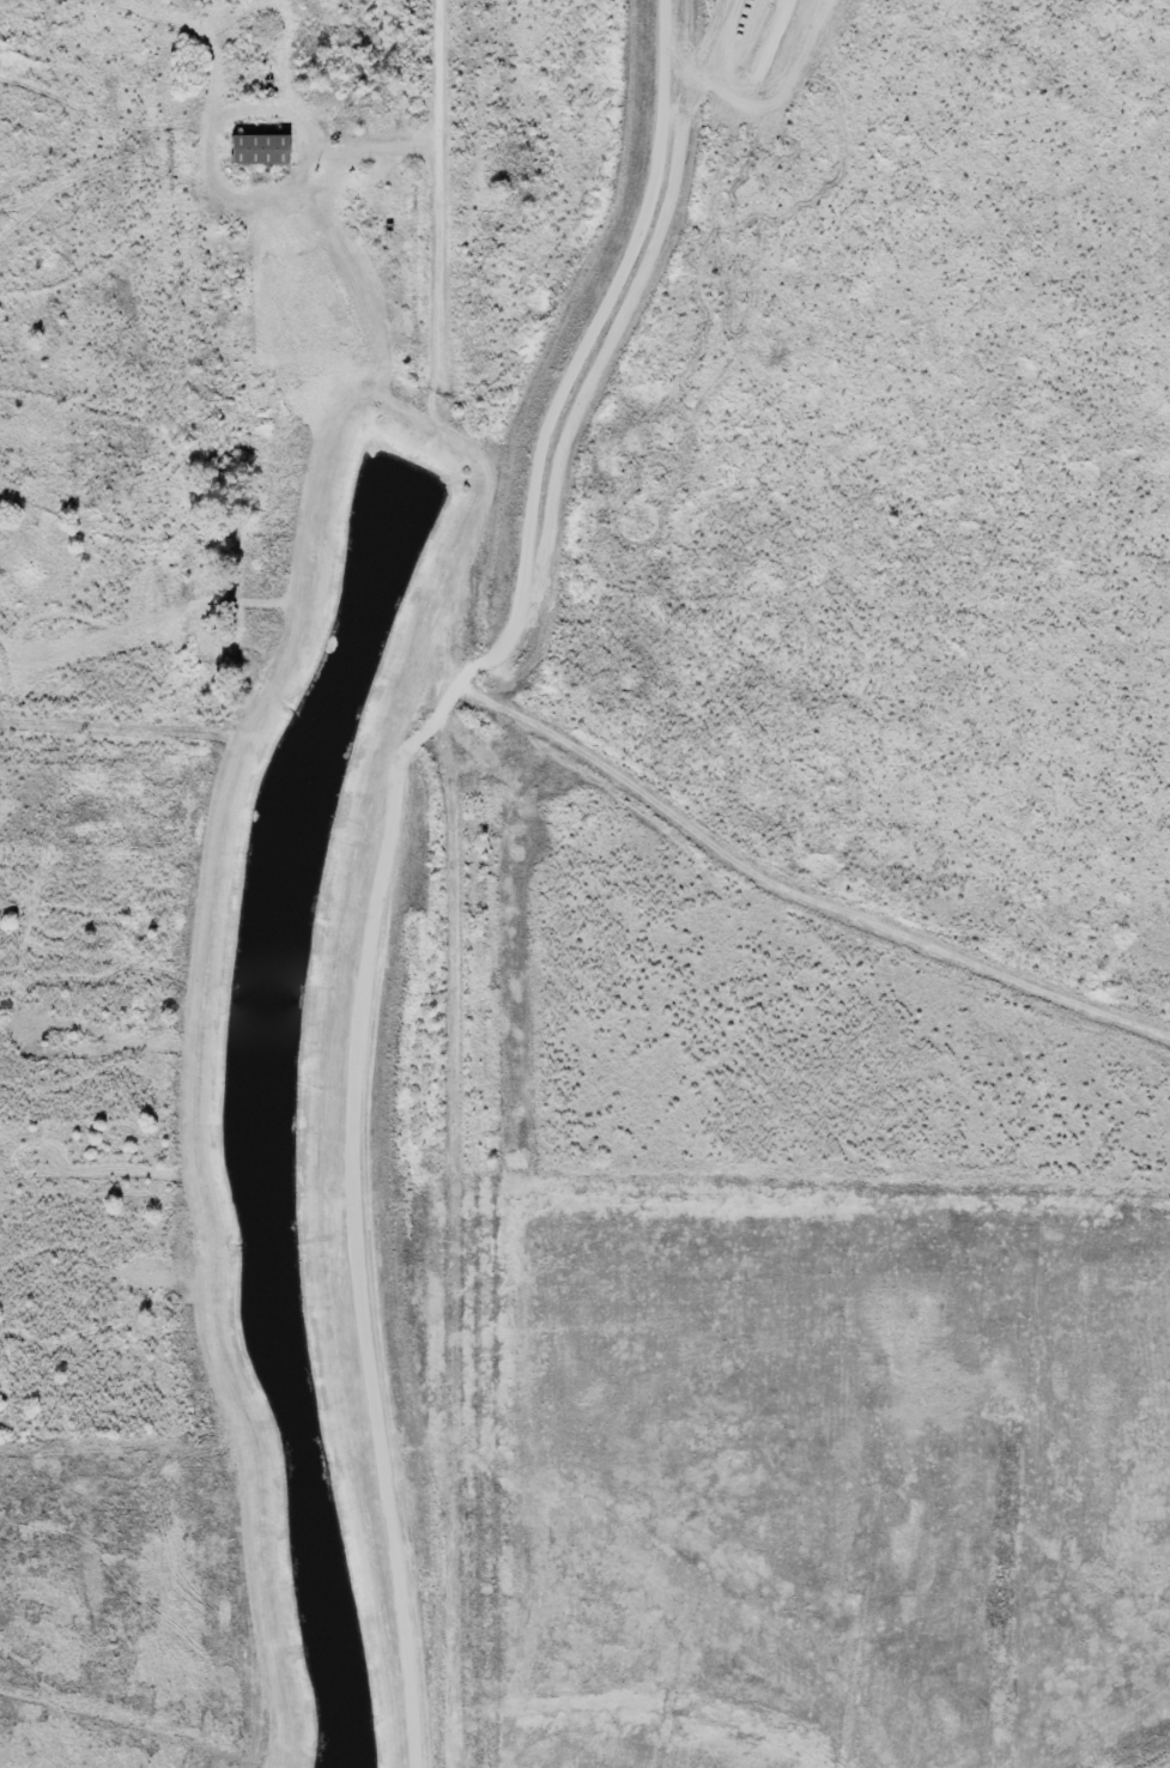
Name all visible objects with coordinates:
road: (742, 28)
road: (777, 35)
road: (747, 62)
road: (365, 149)
building: (256, 152)
road: (436, 186)
road: (389, 848)
road: (798, 895)
railway: (584, 1348)

